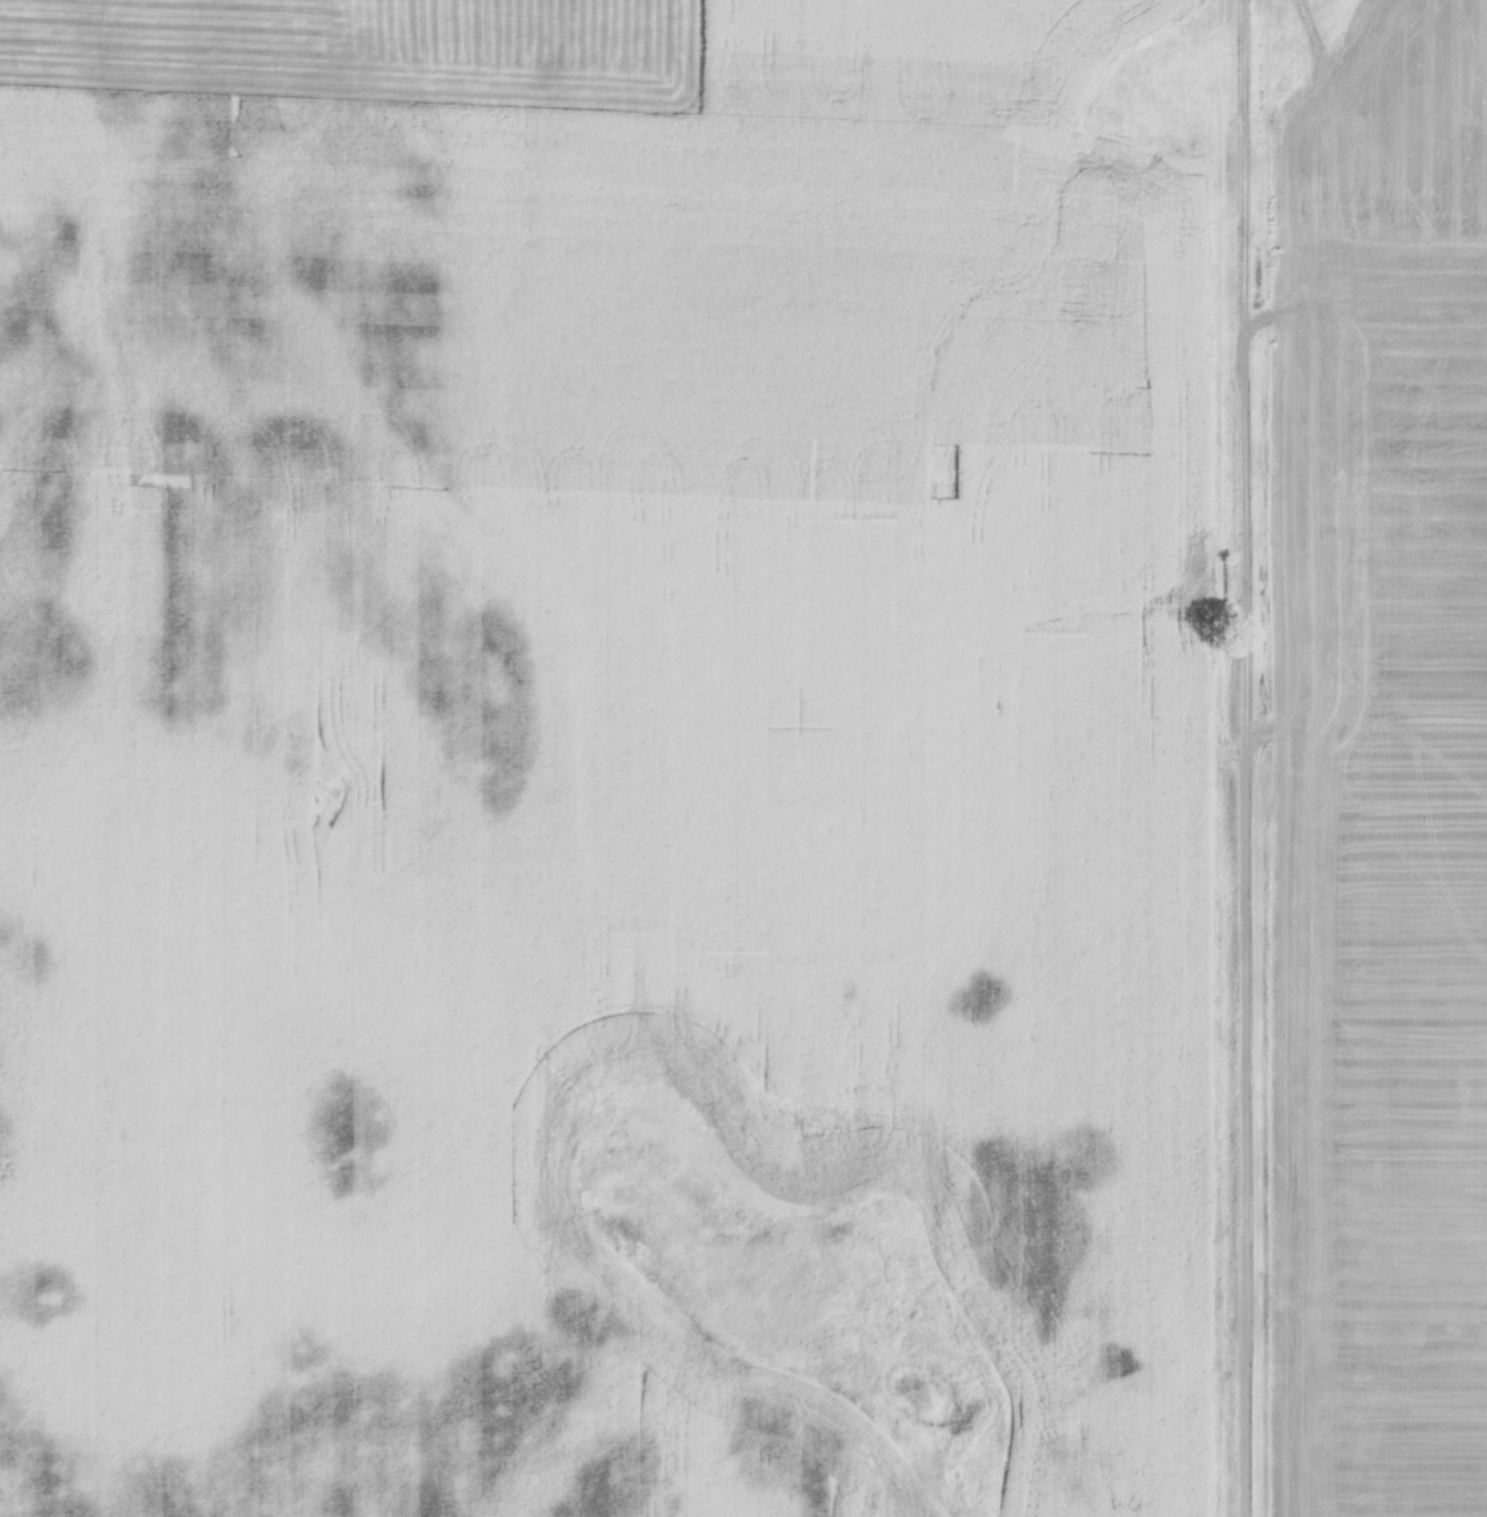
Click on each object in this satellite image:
road: (1244, 758)

